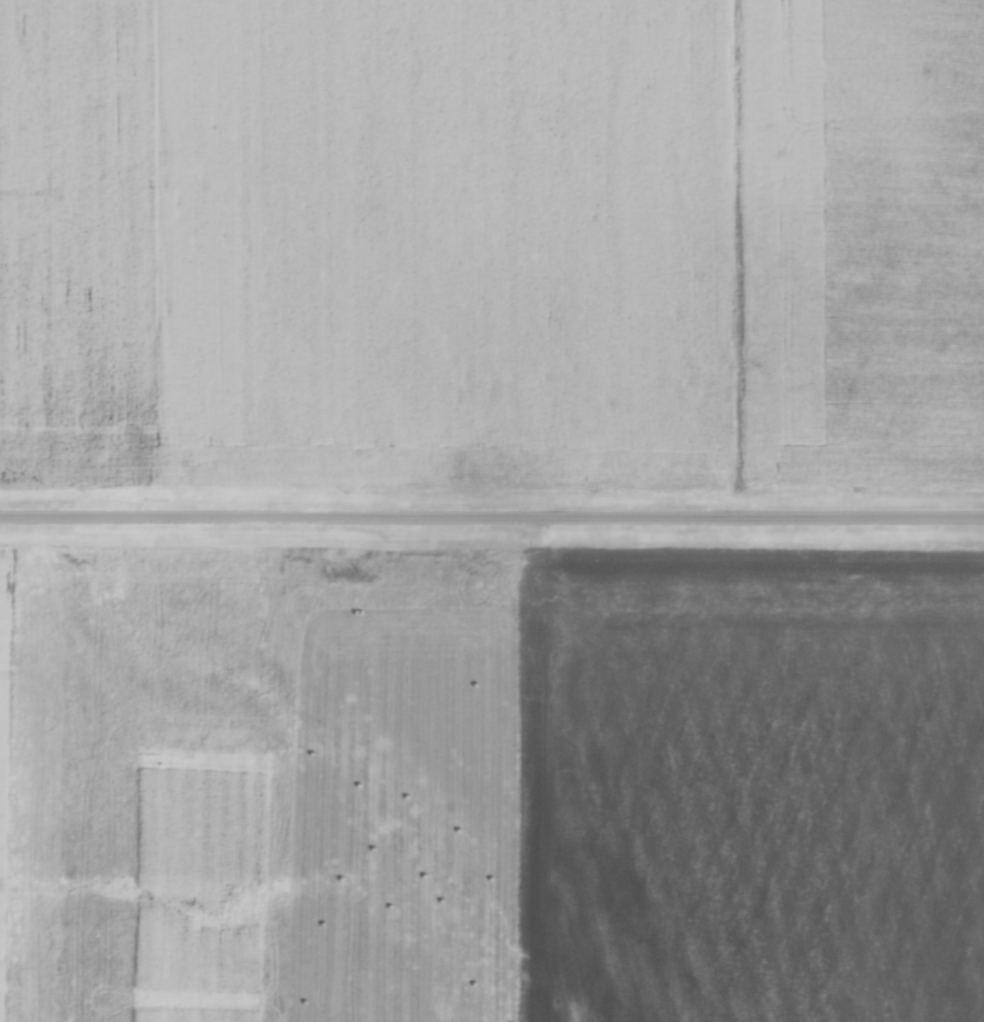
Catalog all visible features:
road: (492, 518)

